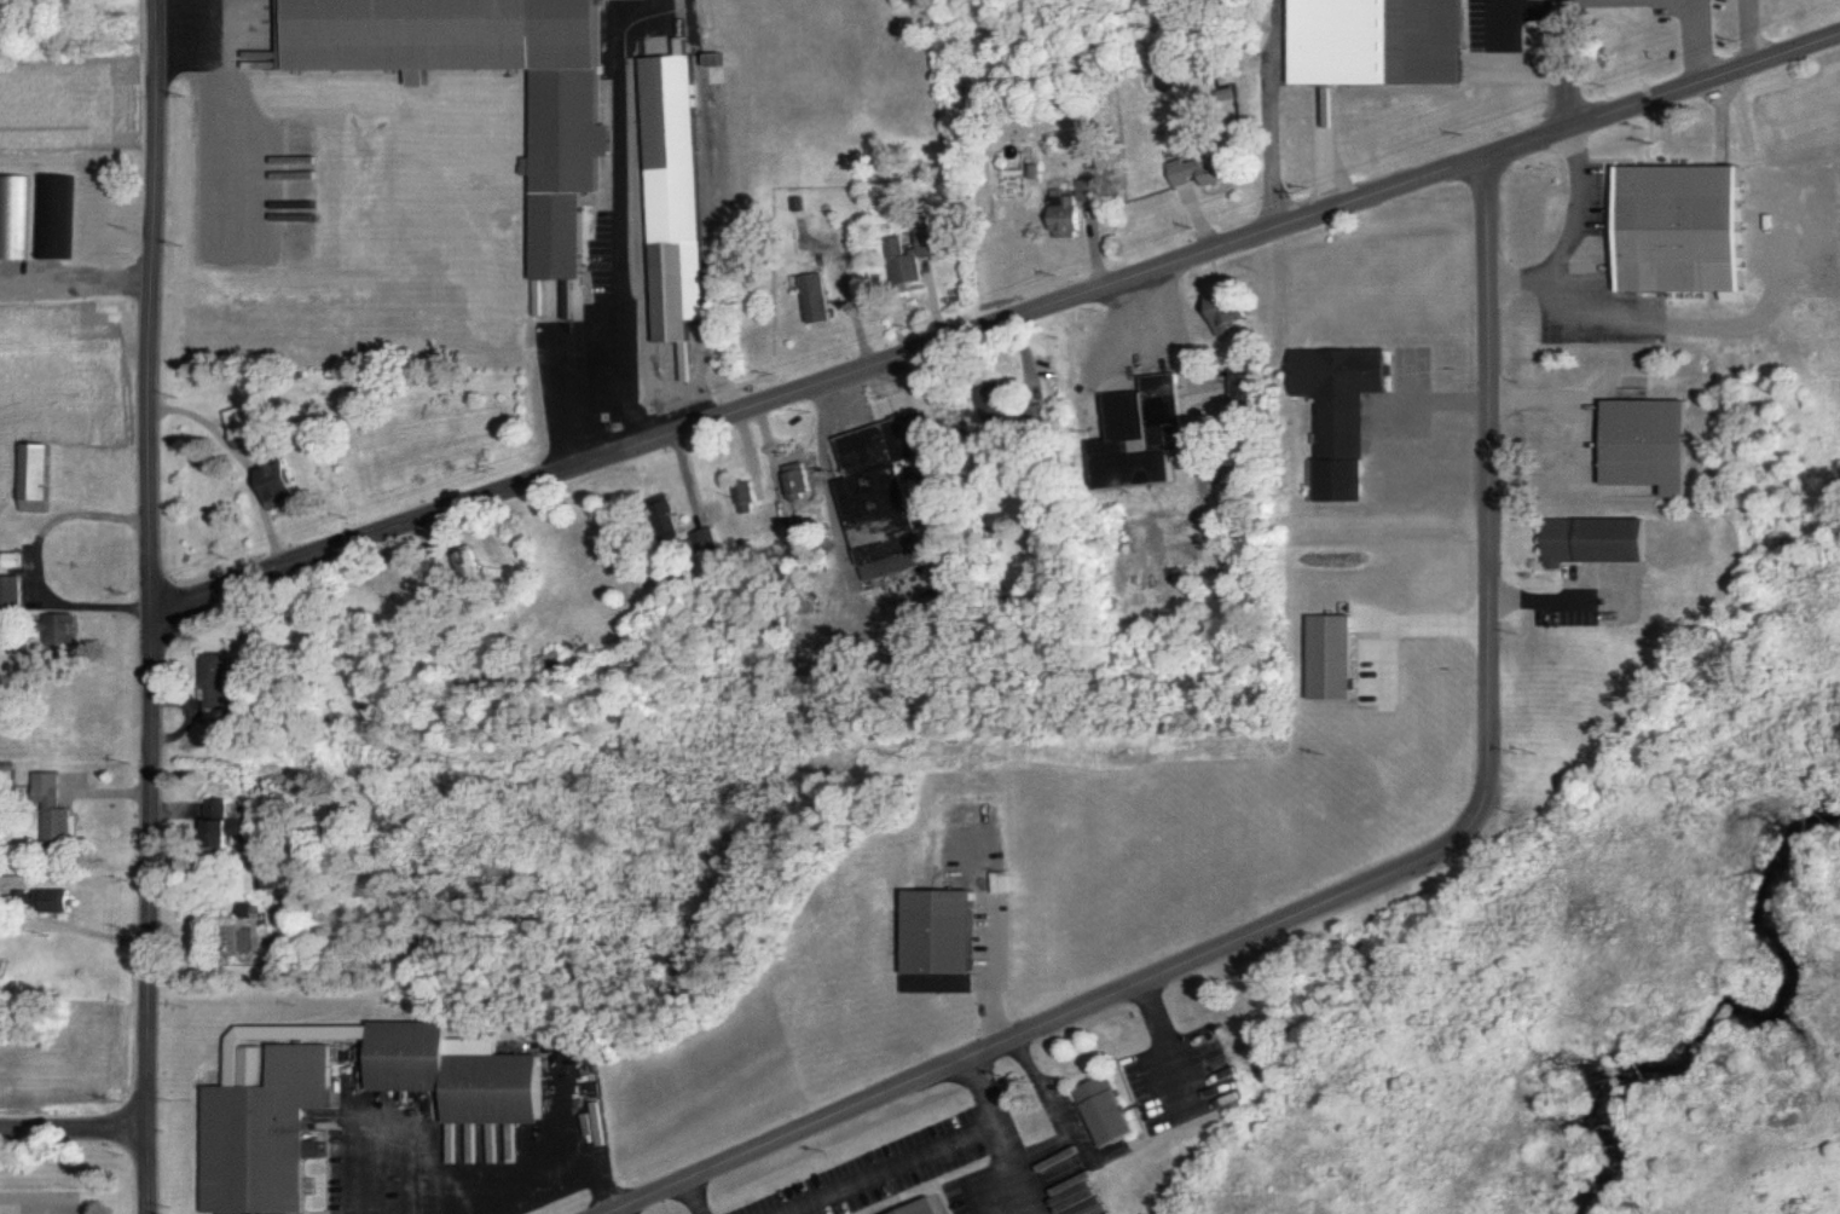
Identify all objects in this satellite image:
road: (1659, 5)
park: (1798, 11)
road: (1747, 31)
building: (1376, 39)
road: (184, 41)
road: (1563, 62)
road: (1268, 112)
road: (216, 121)
building: (567, 137)
building: (1197, 169)
building: (667, 192)
building: (1067, 208)
building: (45, 215)
building: (8, 216)
road: (614, 226)
building: (1676, 227)
road: (1563, 231)
building: (930, 239)
building: (897, 261)
road: (75, 287)
building: (811, 295)
building: (1221, 307)
road: (993, 324)
building: (1234, 395)
building: (986, 401)
building: (1331, 414)
building: (1030, 415)
building: (249, 422)
building: (1133, 434)
building: (1638, 443)
building: (31, 475)
building: (791, 481)
building: (277, 482)
building: (876, 490)
building: (739, 496)
building: (660, 515)
building: (700, 538)
building: (1589, 538)
building: (465, 561)
building: (7, 591)
building: (458, 599)
road: (1532, 600)
road: (146, 606)
building: (210, 684)
building: (47, 813)
building: (220, 822)
road: (1342, 886)
building: (48, 898)
building: (933, 940)
road: (985, 970)
building: (1099, 1108)
building: (249, 1114)
road: (580, 1114)
road: (73, 1126)
road: (920, 1155)
road: (1008, 1166)
road: (557, 1179)
road: (692, 1195)
building: (919, 1207)
road: (612, 1212)

